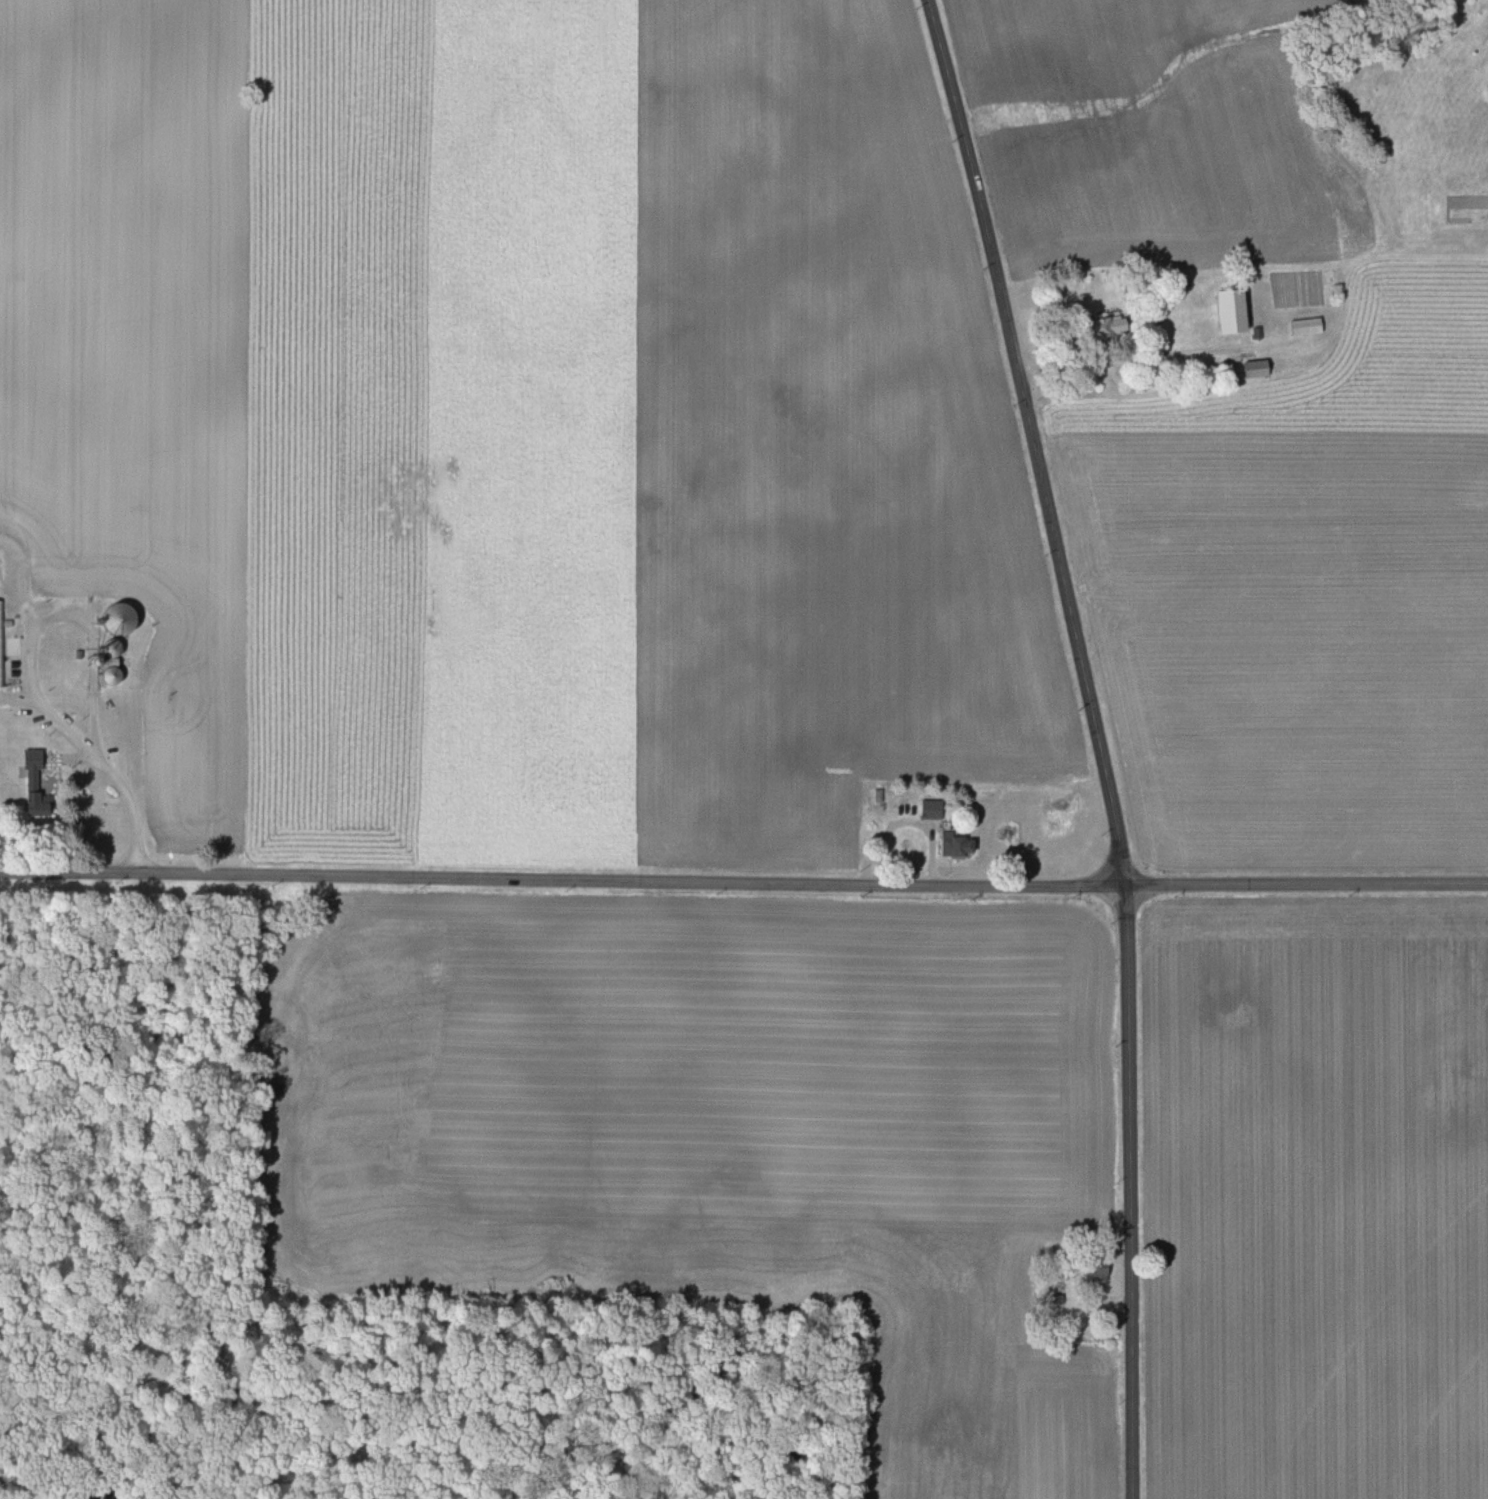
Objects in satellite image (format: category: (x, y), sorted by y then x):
building: (1224, 311)
building: (1303, 326)
building: (1097, 329)
road: (1137, 356)
building: (1251, 369)
road: (1034, 441)
building: (1, 642)
building: (107, 649)
road: (90, 750)
building: (29, 783)
building: (927, 810)
building: (953, 847)
road: (562, 880)
road: (1306, 885)
road: (1131, 1192)
building: (1092, 1270)

